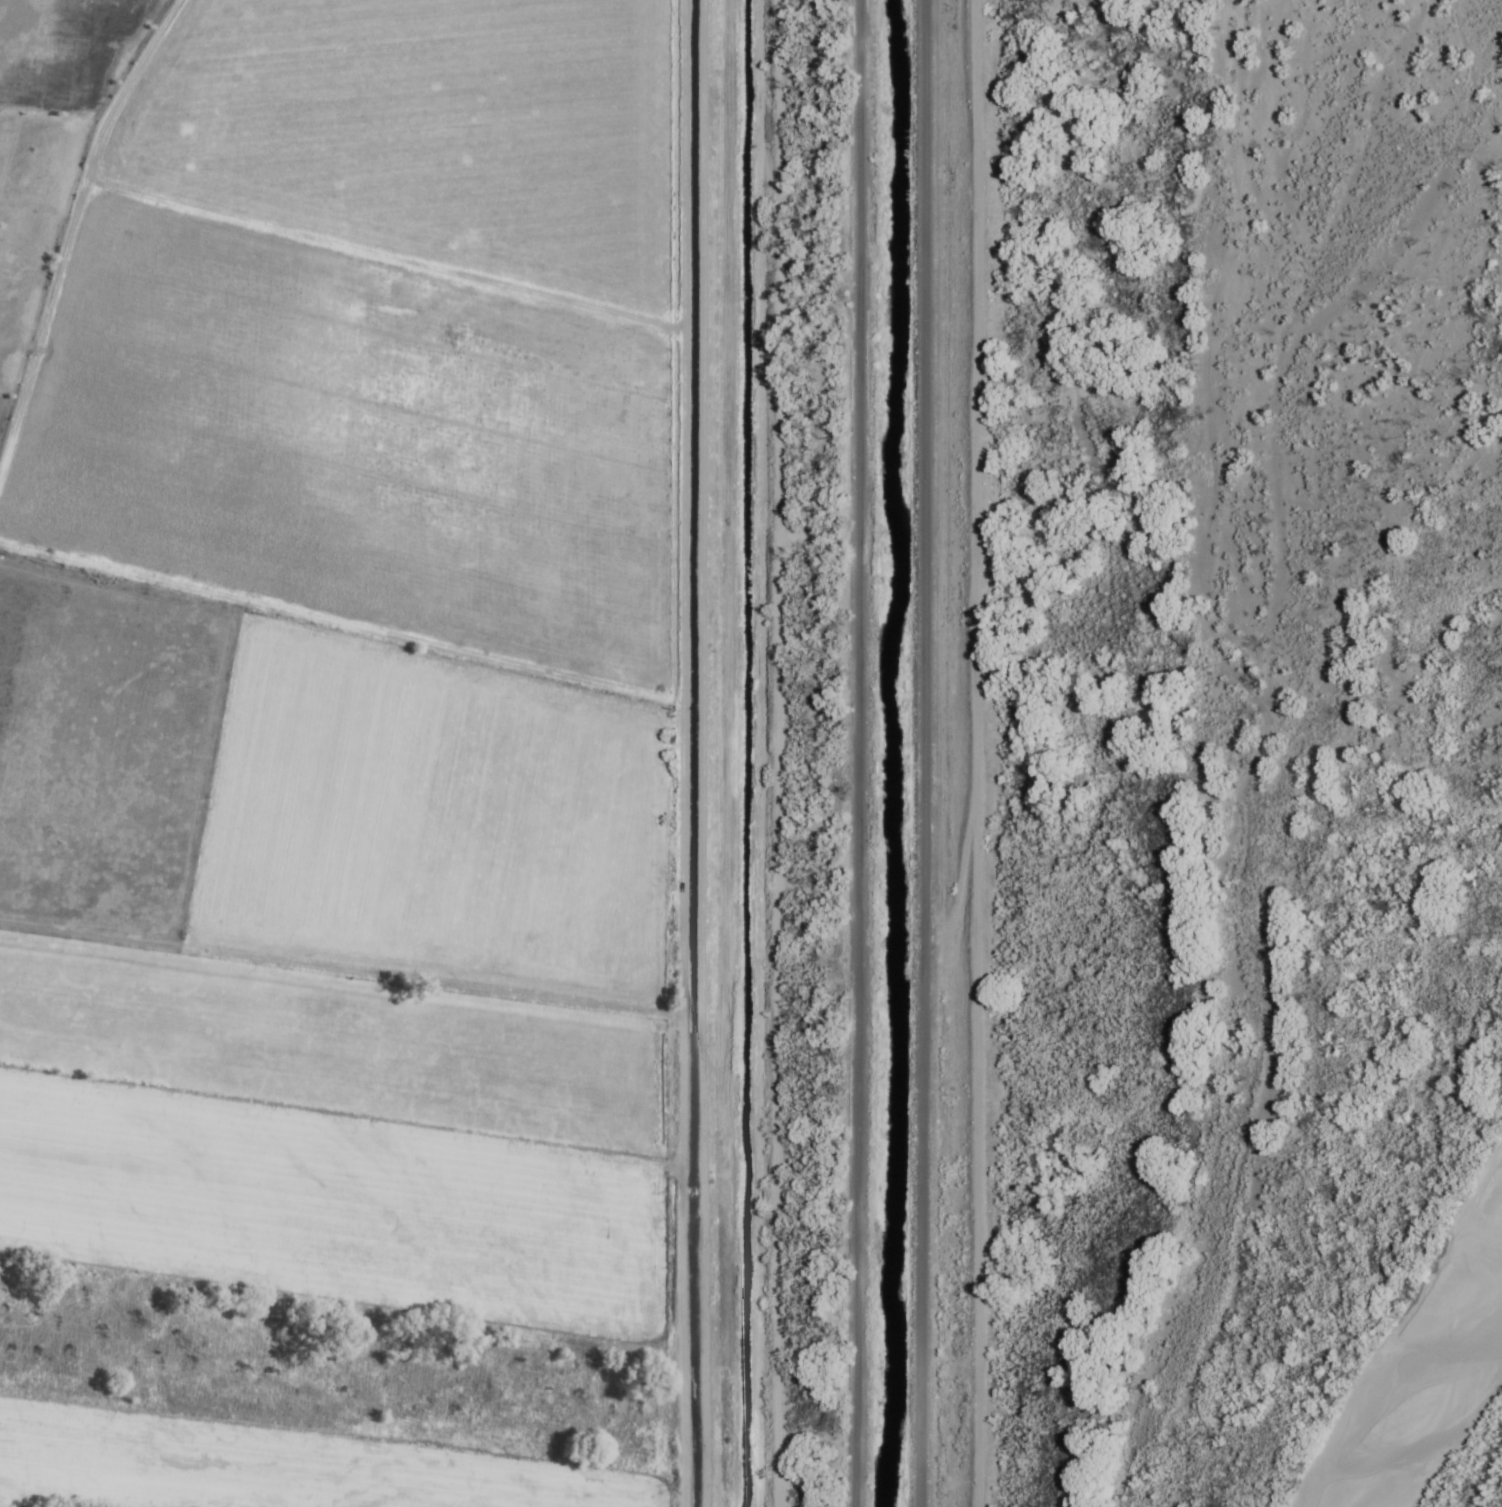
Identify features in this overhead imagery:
road: (672, 753)
road: (858, 753)
road: (969, 753)
road: (336, 968)
river: (1436, 1381)

